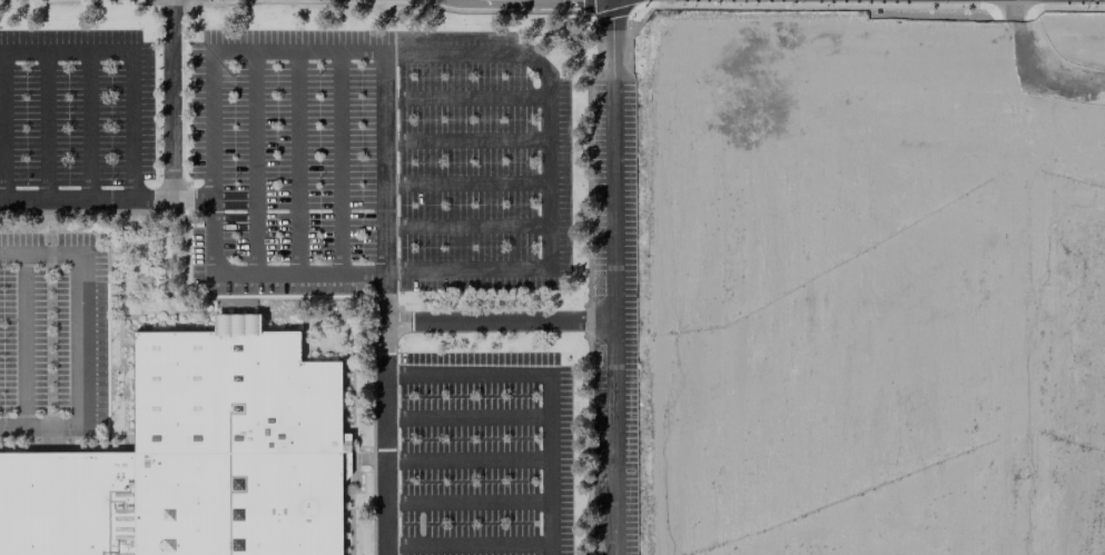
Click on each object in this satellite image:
road: (292, 2)
road: (610, 7)
road: (210, 51)
road: (129, 59)
road: (464, 97)
road: (171, 98)
parking lot: (75, 107)
road: (1, 126)
road: (46, 126)
road: (88, 126)
road: (464, 140)
road: (254, 161)
road: (296, 161)
road: (338, 161)
parking lot: (376, 161)
road: (546, 167)
road: (464, 181)
road: (190, 197)
road: (86, 198)
road: (48, 214)
road: (464, 225)
road: (187, 257)
road: (611, 285)
road: (235, 305)
road: (308, 314)
parking lot: (611, 317)
road: (497, 320)
parking lot: (51, 334)
road: (80, 339)
road: (21, 340)
road: (49, 340)
road: (125, 341)
road: (119, 359)
road: (372, 370)
road: (549, 381)
road: (384, 413)
road: (466, 416)
parking lot: (483, 454)
building: (196, 457)
road: (353, 459)
road: (378, 459)
road: (466, 459)
road: (373, 463)
road: (363, 473)
road: (410, 523)

